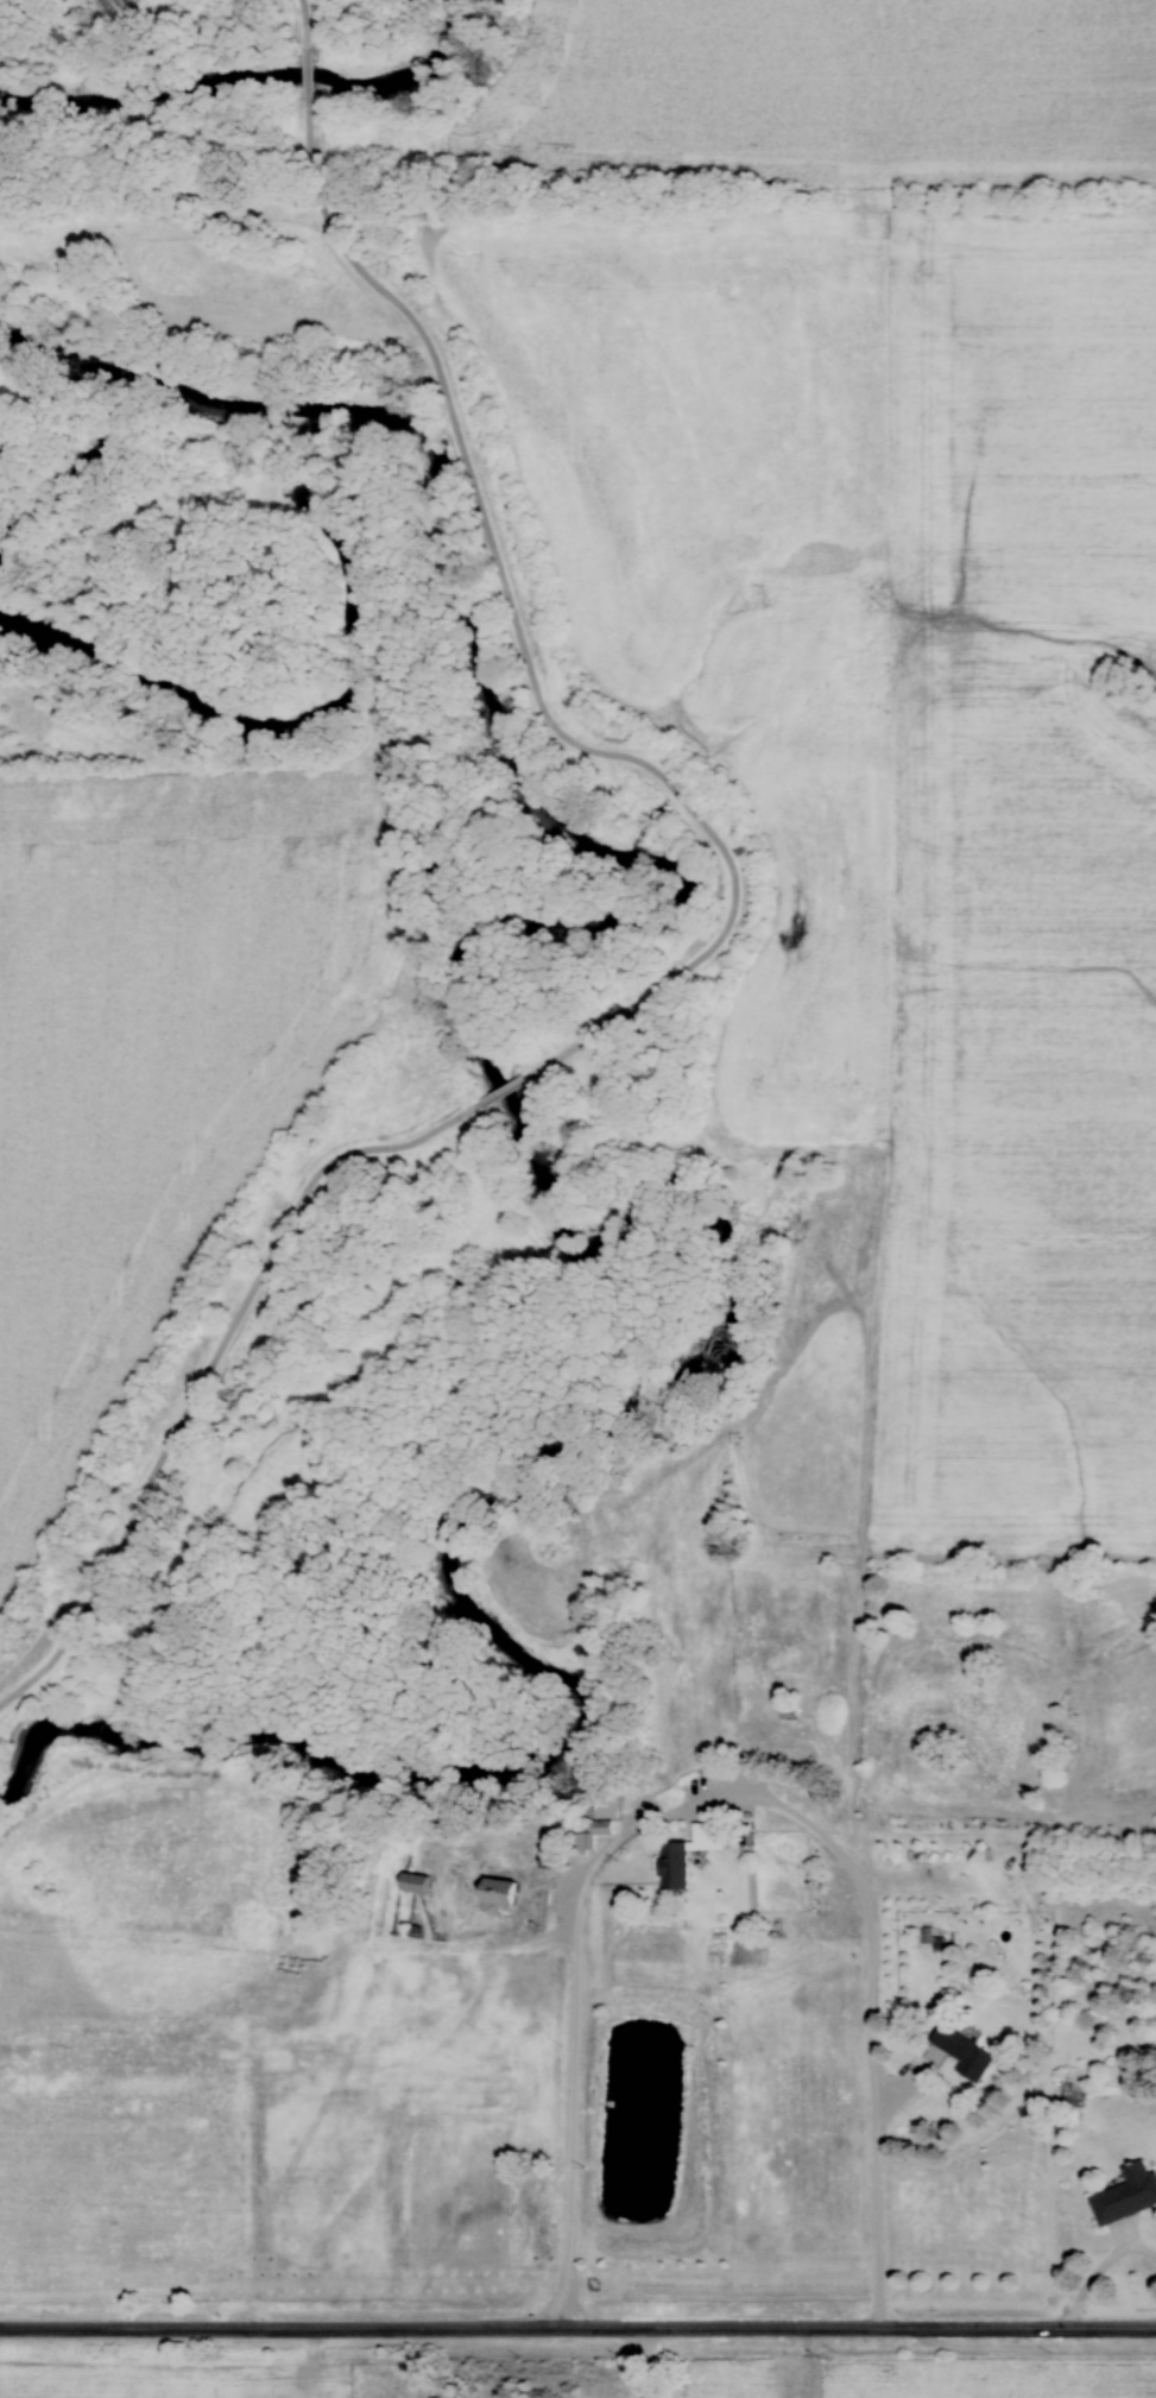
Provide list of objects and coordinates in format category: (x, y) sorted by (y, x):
road: (715, 941)
road: (721, 1797)
building: (601, 1826)
building: (689, 1855)
building: (417, 1883)
building: (503, 1892)
building: (965, 2051)
road: (905, 2082)
building: (1127, 2194)
road: (1097, 2270)
road: (577, 2327)
road: (643, 2362)

